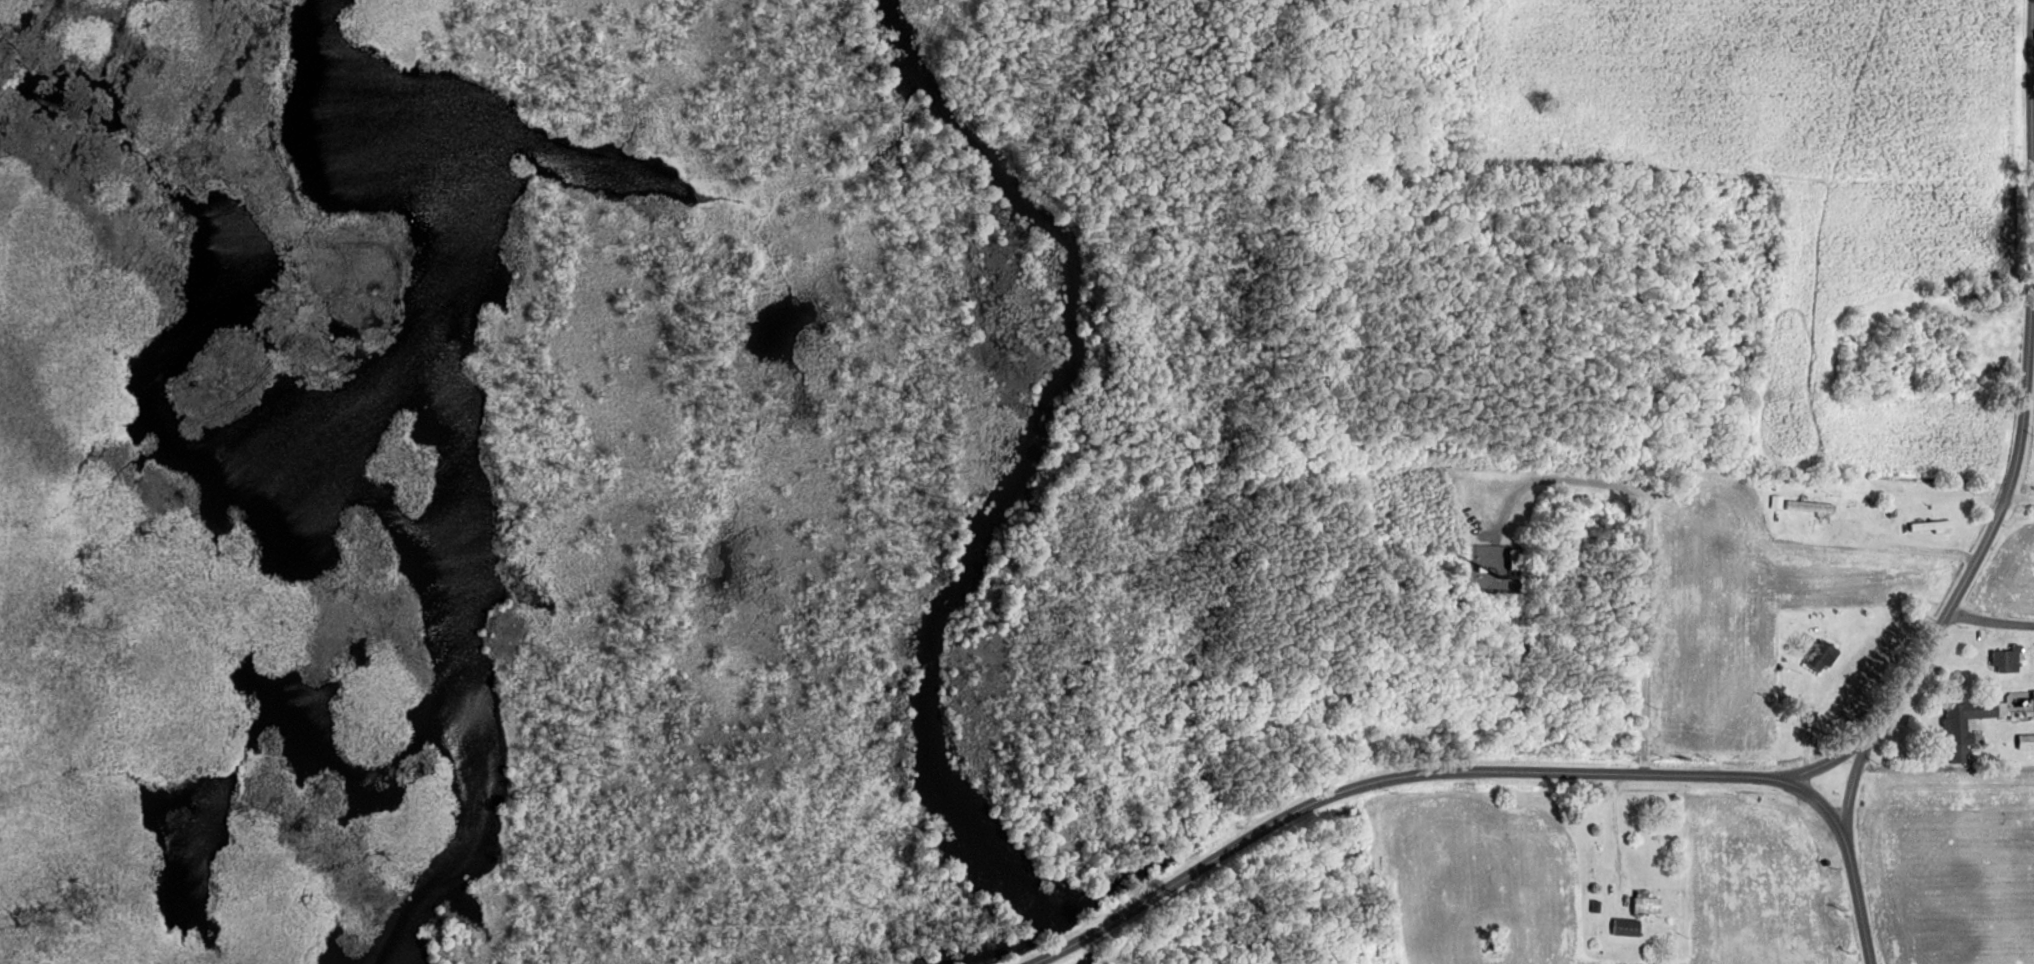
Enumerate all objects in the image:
road: (2033, 165)
road: (2033, 194)
road: (2019, 446)
road: (2020, 497)
building: (1777, 502)
building: (1811, 507)
building: (1893, 513)
building: (1932, 526)
road: (1900, 547)
road: (1650, 548)
building: (1514, 556)
crop: (2008, 575)
crop: (1749, 610)
road: (1989, 619)
building: (1822, 653)
building: (2007, 657)
road: (1841, 665)
building: (2033, 692)
building: (1963, 725)
building: (2026, 741)
road: (1931, 743)
road: (1828, 761)
road: (1426, 772)
crop: (1950, 864)
building: (1644, 901)
road: (1859, 901)
building: (1625, 926)

